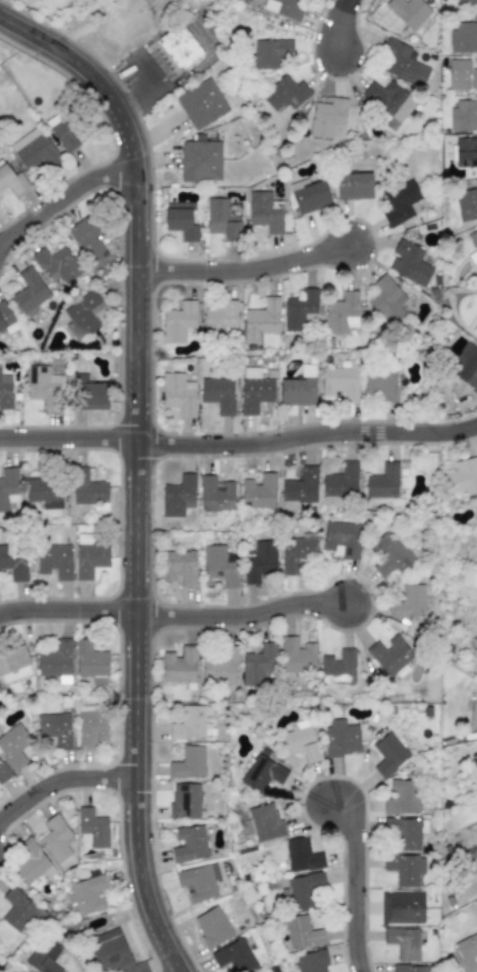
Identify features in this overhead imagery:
building: (467, 1)
building: (284, 7)
building: (408, 11)
road: (340, 24)
building: (463, 37)
building: (179, 46)
building: (270, 52)
building: (403, 64)
building: (458, 74)
building: (474, 79)
building: (285, 93)
building: (388, 99)
building: (201, 104)
building: (463, 115)
building: (327, 116)
building: (64, 136)
building: (34, 149)
building: (465, 152)
building: (200, 161)
building: (11, 179)
building: (354, 186)
road: (61, 192)
building: (308, 195)
building: (400, 202)
building: (467, 204)
building: (264, 211)
building: (223, 218)
building: (182, 219)
building: (88, 237)
building: (473, 238)
building: (409, 262)
building: (56, 264)
road: (241, 267)
building: (29, 292)
building: (386, 300)
building: (300, 310)
building: (341, 313)
building: (5, 315)
building: (82, 317)
building: (220, 318)
building: (178, 321)
building: (260, 321)
building: (474, 331)
building: (466, 365)
building: (340, 382)
building: (380, 383)
building: (42, 385)
building: (5, 391)
building: (297, 391)
building: (88, 393)
building: (178, 393)
building: (255, 393)
building: (218, 394)
road: (239, 440)
road: (131, 468)
building: (463, 476)
building: (382, 481)
building: (340, 483)
building: (8, 487)
building: (88, 488)
building: (299, 488)
building: (44, 493)
building: (259, 493)
building: (215, 494)
building: (178, 496)
building: (342, 538)
building: (296, 551)
building: (392, 555)
building: (89, 556)
building: (54, 560)
building: (14, 561)
building: (259, 561)
building: (220, 565)
building: (179, 567)
building: (409, 602)
road: (66, 607)
road: (238, 613)
building: (476, 639)
building: (389, 654)
building: (297, 655)
building: (55, 659)
building: (90, 662)
building: (13, 664)
building: (179, 664)
building: (258, 665)
building: (219, 667)
building: (338, 667)
building: (474, 711)
building: (191, 723)
building: (91, 725)
building: (55, 729)
building: (340, 737)
building: (301, 741)
building: (14, 746)
building: (388, 754)
building: (474, 759)
building: (188, 762)
building: (4, 772)
building: (261, 773)
road: (60, 775)
building: (402, 797)
building: (185, 800)
building: (265, 822)
building: (92, 826)
building: (405, 831)
building: (56, 839)
building: (189, 843)
building: (301, 854)
building: (31, 862)
building: (405, 868)
building: (198, 881)
road: (356, 883)
building: (304, 890)
building: (87, 894)
building: (401, 907)
building: (17, 909)
building: (212, 926)
building: (302, 932)
building: (403, 942)
building: (110, 951)
building: (466, 952)
building: (44, 957)
building: (235, 957)
building: (311, 961)
building: (408, 968)

